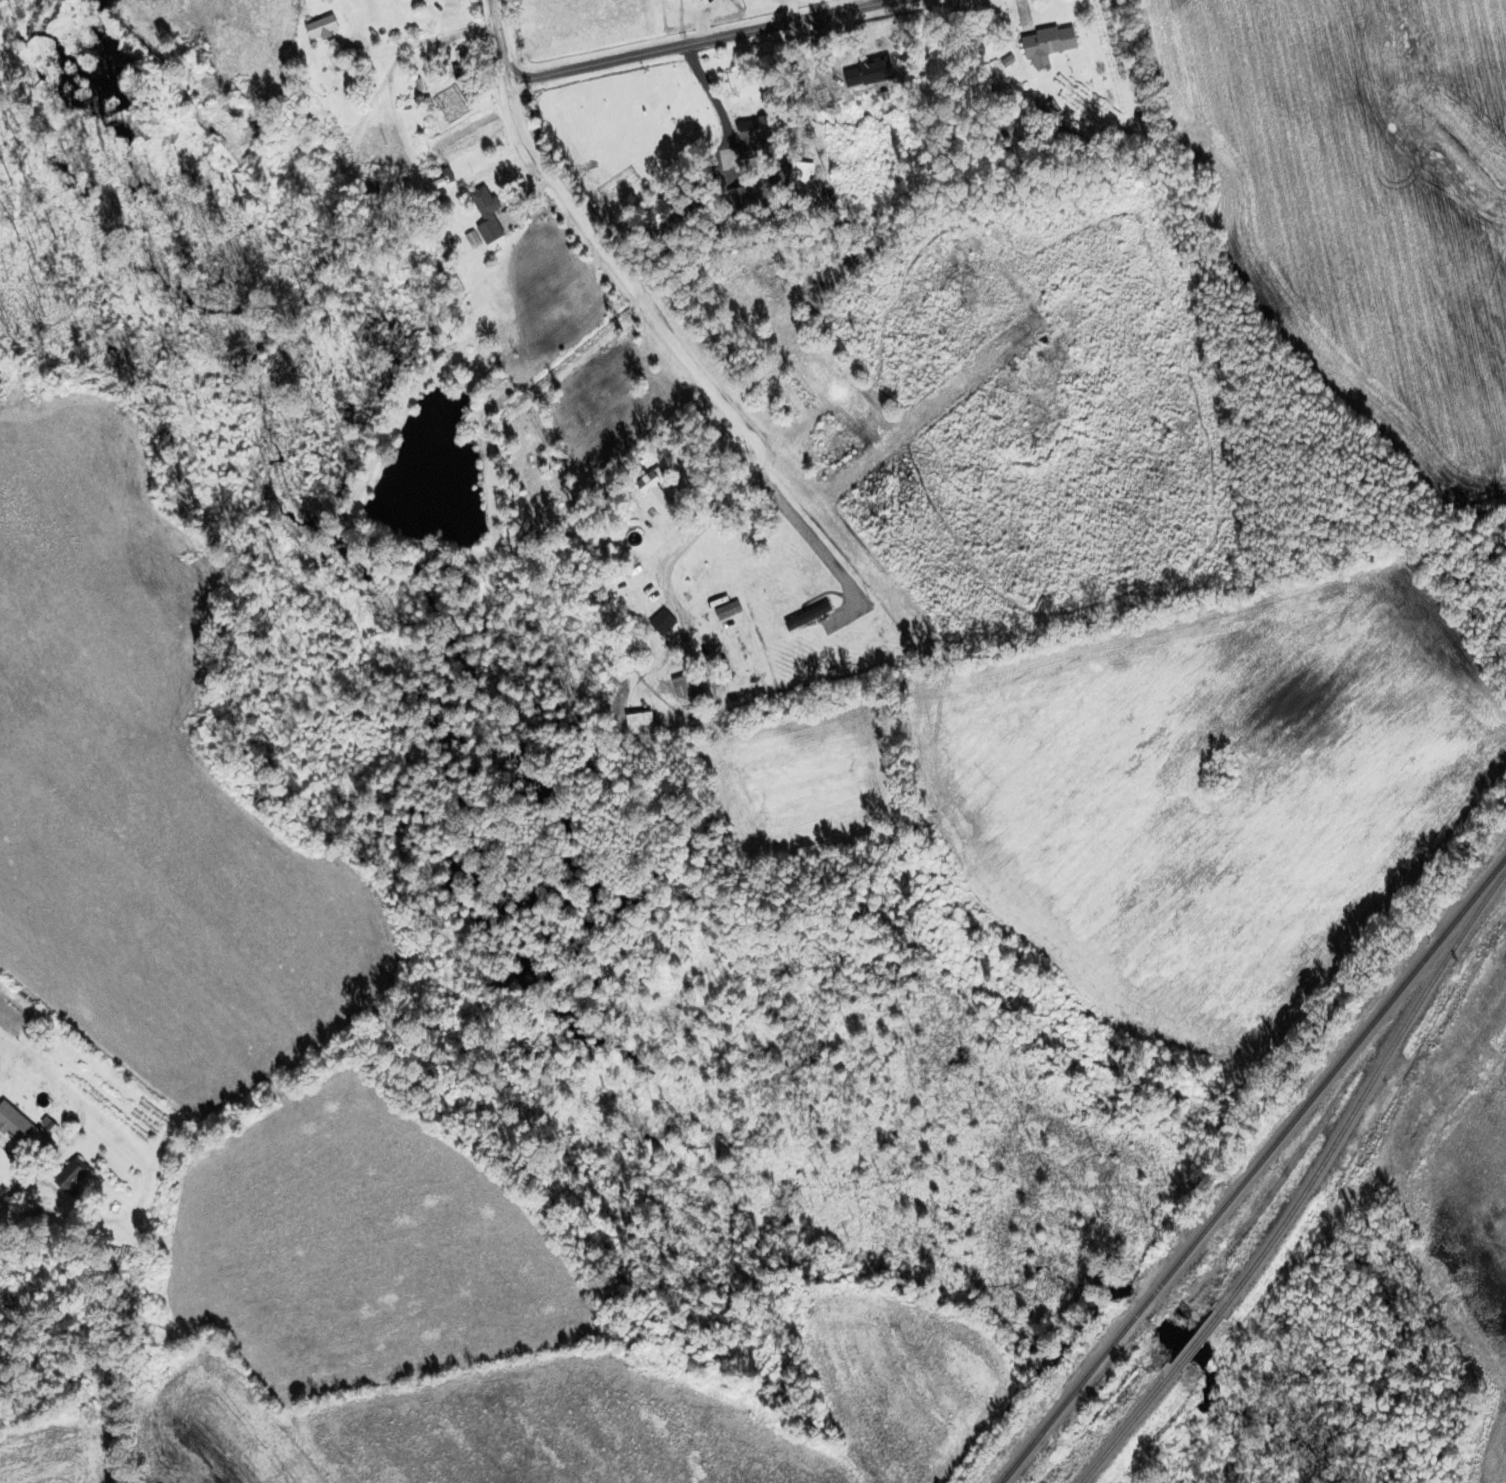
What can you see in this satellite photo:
building: (328, 26)
road: (501, 39)
road: (701, 41)
building: (1055, 44)
building: (762, 142)
building: (425, 152)
building: (377, 187)
building: (493, 215)
road: (686, 355)
building: (667, 500)
road: (814, 541)
building: (667, 621)
building: (692, 685)
building: (648, 723)
railway: (1366, 1093)
building: (15, 1120)
railway: (1250, 1167)
building: (77, 1173)
railway: (1200, 1330)
railway: (1118, 1419)

